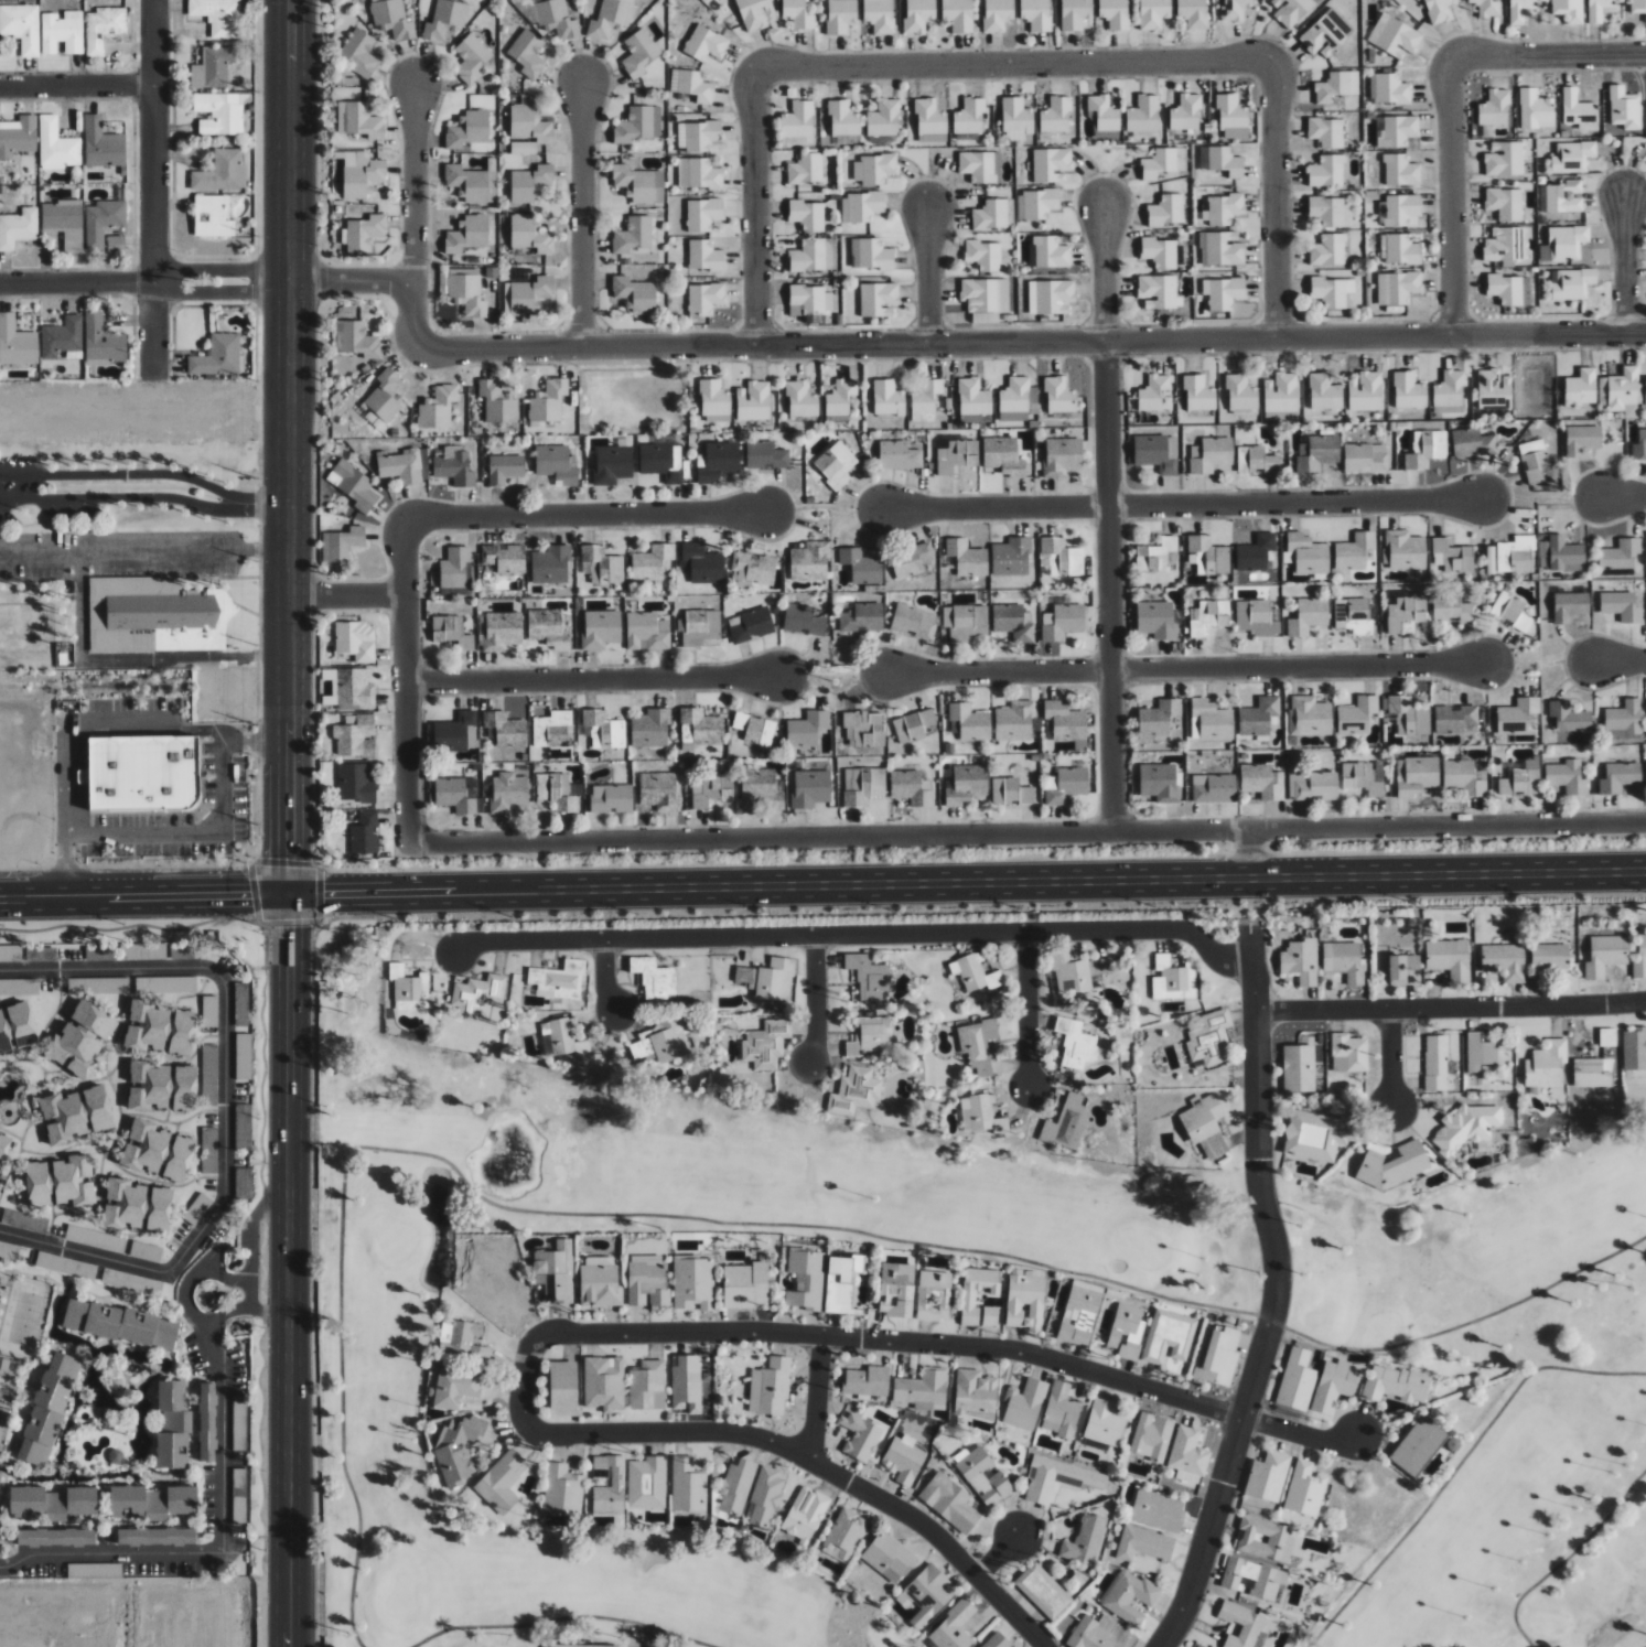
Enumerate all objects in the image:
building: (1637, 6)
building: (1487, 8)
building: (1600, 9)
building: (1236, 10)
building: (1291, 10)
building: (1439, 10)
building: (1520, 10)
building: (1569, 10)
building: (1193, 12)
building: (755, 13)
building: (1075, 13)
building: (1115, 13)
building: (1153, 13)
building: (798, 14)
building: (918, 14)
building: (958, 14)
building: (997, 14)
building: (1035, 14)
building: (218, 15)
building: (841, 15)
building: (879, 15)
building: (611, 18)
building: (392, 19)
building: (444, 19)
building: (557, 19)
building: (21, 26)
building: (103, 28)
building: (62, 31)
building: (1326, 33)
building: (1395, 36)
building: (706, 43)
building: (359, 52)
road: (1547, 52)
building: (527, 53)
building: (639, 53)
building: (472, 57)
road: (1003, 63)
building: (213, 67)
road: (76, 83)
building: (691, 85)
building: (1337, 86)
building: (1389, 89)
building: (1495, 108)
building: (1624, 108)
building: (1536, 109)
building: (1579, 109)
building: (220, 112)
building: (1186, 112)
building: (1056, 115)
building: (929, 116)
building: (969, 116)
building: (1105, 117)
building: (843, 118)
building: (884, 118)
building: (1233, 118)
building: (358, 119)
building: (798, 119)
building: (1016, 119)
building: (638, 123)
building: (467, 129)
building: (1396, 130)
building: (1326, 131)
building: (698, 134)
building: (18, 136)
building: (103, 143)
building: (57, 146)
building: (523, 147)
building: (1572, 157)
building: (1504, 159)
building: (1222, 161)
building: (1159, 163)
building: (1051, 164)
building: (981, 166)
building: (806, 169)
building: (873, 169)
building: (1401, 170)
building: (1327, 171)
building: (222, 172)
building: (362, 174)
building: (699, 174)
building: (529, 182)
building: (638, 183)
road: (152, 184)
road: (1273, 190)
road: (1449, 196)
building: (1566, 196)
building: (1505, 203)
building: (1036, 204)
road: (755, 206)
building: (861, 206)
building: (1226, 208)
building: (1327, 209)
building: (1398, 209)
road: (415, 211)
building: (1166, 211)
road: (583, 214)
building: (703, 214)
building: (994, 214)
building: (808, 215)
building: (212, 216)
building: (103, 222)
building: (64, 223)
building: (18, 228)
building: (364, 233)
building: (530, 234)
building: (466, 235)
building: (633, 235)
building: (116, 241)
building: (1504, 244)
building: (1563, 244)
building: (1222, 248)
building: (1400, 249)
building: (1328, 250)
building: (1050, 252)
building: (1160, 252)
building: (871, 254)
building: (985, 255)
building: (704, 256)
building: (809, 256)
road: (1622, 257)
road: (218, 269)
road: (925, 276)
road: (349, 278)
road: (76, 281)
building: (1571, 283)
building: (1398, 287)
building: (1510, 289)
road: (219, 291)
building: (1158, 291)
building: (467, 292)
building: (1224, 292)
building: (1335, 292)
building: (528, 294)
building: (634, 294)
building: (986, 294)
building: (1054, 295)
building: (704, 299)
building: (811, 299)
building: (879, 299)
building: (62, 337)
building: (356, 338)
road: (1032, 341)
building: (17, 342)
building: (103, 342)
road: (1104, 354)
building: (217, 356)
building: (1581, 387)
building: (1494, 388)
building: (1623, 389)
building: (1409, 390)
building: (1325, 391)
building: (1366, 391)
building: (1153, 392)
building: (1198, 392)
building: (1281, 392)
building: (1450, 392)
building: (1241, 394)
building: (385, 396)
building: (1059, 396)
building: (841, 397)
building: (973, 397)
building: (887, 398)
building: (714, 399)
building: (802, 399)
building: (1016, 399)
building: (548, 400)
building: (925, 400)
building: (497, 401)
building: (754, 401)
building: (438, 407)
building: (971, 418)
road: (287, 430)
building: (1582, 439)
building: (1472, 443)
building: (1639, 445)
building: (1427, 449)
building: (1156, 452)
building: (1317, 452)
building: (1211, 454)
building: (765, 455)
building: (899, 455)
building: (957, 456)
building: (1003, 456)
building: (1062, 456)
building: (1365, 457)
building: (1256, 460)
building: (1534, 460)
building: (661, 461)
building: (718, 461)
building: (556, 464)
building: (612, 464)
building: (836, 464)
building: (401, 465)
building: (454, 466)
building: (504, 469)
road: (146, 473)
building: (355, 486)
road: (1625, 494)
road: (144, 496)
road: (1297, 502)
road: (991, 505)
road: (588, 518)
building: (341, 543)
building: (1203, 549)
building: (1406, 550)
road: (143, 551)
building: (1354, 551)
building: (1256, 552)
building: (1159, 553)
building: (1516, 555)
building: (1566, 555)
building: (1620, 555)
building: (1310, 556)
building: (1011, 557)
building: (1064, 557)
building: (1452, 557)
building: (505, 558)
building: (967, 558)
building: (911, 560)
building: (650, 561)
building: (809, 561)
building: (702, 563)
building: (550, 564)
building: (602, 566)
building: (861, 566)
building: (754, 568)
building: (455, 570)
road: (347, 598)
building: (1570, 605)
building: (1622, 606)
building: (1452, 609)
building: (1406, 612)
building: (1510, 612)
building: (1354, 615)
building: (150, 616)
building: (1208, 616)
building: (1309, 616)
building: (862, 617)
building: (1256, 617)
building: (803, 620)
building: (1156, 620)
building: (914, 621)
building: (1013, 622)
building: (1063, 622)
building: (751, 625)
building: (699, 626)
building: (548, 628)
building: (601, 628)
building: (502, 631)
building: (451, 632)
building: (645, 632)
building: (355, 640)
road: (1618, 657)
road: (129, 661)
road: (1297, 666)
road: (1111, 667)
road: (997, 668)
road: (590, 677)
road: (407, 678)
building: (354, 689)
building: (1402, 713)
building: (1357, 715)
building: (1517, 715)
building: (1258, 717)
building: (1310, 717)
building: (1569, 717)
building: (1159, 718)
building: (1455, 719)
building: (1213, 720)
building: (1624, 720)
building: (1014, 721)
building: (1065, 721)
building: (970, 722)
building: (914, 725)
building: (702, 726)
building: (650, 728)
building: (865, 728)
building: (506, 729)
building: (551, 729)
building: (806, 729)
building: (604, 730)
building: (760, 731)
building: (456, 732)
building: (355, 738)
building: (141, 773)
building: (1417, 775)
building: (1365, 776)
building: (1568, 777)
building: (1620, 777)
building: (1463, 778)
building: (1159, 782)
building: (1262, 782)
building: (355, 783)
building: (967, 784)
building: (859, 785)
building: (1314, 785)
building: (1065, 786)
building: (761, 787)
building: (810, 788)
building: (911, 788)
building: (1214, 788)
building: (556, 792)
building: (709, 792)
building: (1011, 792)
building: (508, 793)
building: (658, 793)
building: (454, 796)
building: (611, 798)
road: (1029, 831)
building: (364, 833)
road: (1249, 853)
traffic signals: (291, 861)
road: (290, 879)
road: (968, 883)
traffic signals: (324, 895)
traffic signals: (251, 896)
road: (144, 897)
road: (289, 912)
traffic signals: (289, 928)
road: (858, 935)
building: (10, 952)
building: (138, 952)
building: (44, 954)
building: (1605, 955)
building: (1550, 956)
building: (1640, 958)
building: (1449, 959)
building: (1301, 961)
building: (1345, 961)
building: (1504, 961)
building: (1403, 970)
building: (1071, 972)
building: (975, 973)
building: (869, 976)
building: (745, 977)
building: (558, 978)
building: (1168, 978)
road: (605, 979)
building: (654, 980)
building: (775, 980)
building: (98, 984)
building: (405, 988)
building: (477, 995)
road: (816, 1000)
building: (241, 1004)
road: (1451, 1008)
road: (1029, 1010)
building: (209, 1011)
building: (15, 1027)
building: (159, 1029)
building: (562, 1038)
building: (79, 1040)
building: (867, 1040)
building: (1211, 1040)
building: (665, 1041)
building: (766, 1044)
building: (978, 1044)
building: (1075, 1044)
building: (1635, 1048)
building: (1481, 1052)
building: (1348, 1053)
road: (1391, 1061)
building: (1435, 1063)
building: (1547, 1065)
building: (1299, 1068)
building: (1590, 1074)
building: (209, 1075)
building: (148, 1086)
building: (183, 1088)
building: (854, 1091)
road: (224, 1107)
building: (97, 1108)
building: (979, 1112)
building: (63, 1117)
building: (1064, 1121)
building: (1001, 1124)
building: (1205, 1124)
building: (243, 1127)
building: (1467, 1127)
building: (1317, 1135)
building: (3, 1147)
building: (144, 1148)
building: (208, 1150)
fountain: (504, 1155)
building: (177, 1159)
building: (1394, 1165)
building: (60, 1183)
building: (243, 1184)
building: (123, 1205)
building: (158, 1209)
road: (552, 1213)
building: (24, 1221)
building: (9, 1251)
building: (805, 1280)
building: (599, 1282)
building: (693, 1283)
building: (840, 1284)
building: (745, 1285)
road: (289, 1288)
building: (896, 1290)
park: (1381, 1290)
building: (933, 1295)
road: (1276, 1295)
building: (968, 1301)
building: (1025, 1302)
road: (241, 1309)
building: (1079, 1314)
building: (990, 1316)
park: (23, 1318)
building: (119, 1325)
road: (1463, 1325)
building: (1127, 1332)
building: (1169, 1337)
road: (896, 1341)
building: (464, 1343)
building: (1217, 1357)
building: (3, 1364)
building: (1297, 1379)
building: (867, 1380)
road: (524, 1382)
building: (604, 1382)
building: (687, 1384)
building: (1395, 1384)
building: (647, 1385)
building: (1334, 1385)
building: (454, 1387)
building: (770, 1387)
building: (562, 1388)
building: (923, 1388)
building: (975, 1392)
road: (817, 1398)
park: (2, 1400)
building: (1024, 1403)
building: (46, 1410)
building: (1061, 1410)
building: (206, 1423)
building: (239, 1423)
building: (1104, 1423)
building: (171, 1427)
building: (1152, 1435)
road: (1301, 1435)
building: (860, 1436)
building: (1418, 1444)
building: (456, 1449)
building: (1188, 1451)
building: (904, 1457)
road: (816, 1464)
road: (1459, 1466)
road: (220, 1473)
building: (982, 1474)
building: (1268, 1475)
building: (1058, 1478)
building: (502, 1481)
building: (647, 1482)
building: (239, 1484)
building: (610, 1484)
building: (688, 1485)
building: (736, 1485)
building: (1305, 1488)
building: (562, 1489)
building: (765, 1497)
building: (949, 1501)
building: (51, 1503)
building: (150, 1503)
building: (1158, 1509)
building: (805, 1514)
building: (239, 1516)
building: (844, 1532)
building: (54, 1538)
building: (154, 1538)
building: (1266, 1538)
building: (1085, 1540)
building: (1143, 1543)
building: (889, 1557)
road: (997, 1558)
road: (1569, 1559)
building: (95, 1569)
building: (1254, 1576)
building: (1043, 1590)
building: (928, 1593)
building: (1130, 1596)
road: (562, 1618)
building: (1244, 1625)
building: (954, 1626)
building: (1099, 1634)
building: (997, 1640)
building: (571, 1646)
building: (1199, 1646)

